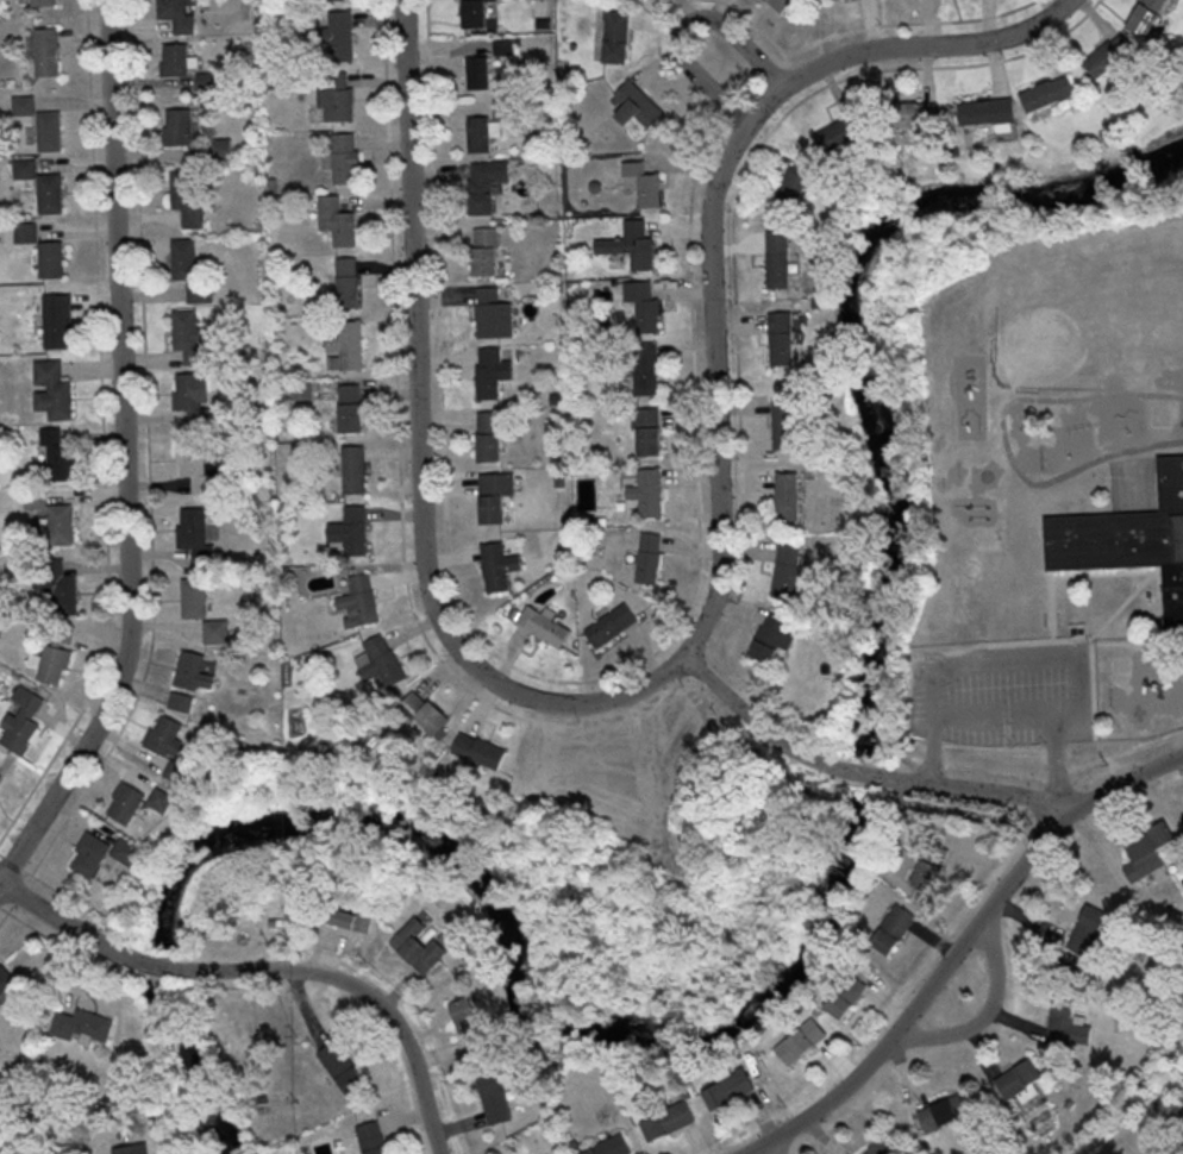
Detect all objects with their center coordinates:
building: (42, 1)
building: (632, 1)
building: (777, 4)
building: (475, 13)
building: (176, 14)
road: (683, 26)
building: (339, 35)
building: (615, 35)
building: (43, 49)
building: (174, 58)
building: (478, 71)
building: (206, 77)
building: (1053, 93)
building: (336, 102)
building: (502, 107)
building: (634, 107)
building: (987, 111)
building: (176, 125)
building: (48, 130)
building: (840, 131)
building: (482, 132)
building: (342, 157)
building: (23, 169)
building: (484, 182)
building: (644, 182)
building: (795, 188)
building: (49, 192)
building: (186, 196)
road: (711, 212)
building: (336, 220)
building: (25, 232)
building: (631, 244)
building: (484, 250)
building: (50, 258)
building: (182, 258)
building: (778, 258)
building: (346, 281)
building: (199, 291)
building: (641, 305)
building: (493, 313)
building: (56, 319)
building: (188, 335)
building: (782, 338)
building: (345, 345)
building: (645, 368)
building: (490, 371)
building: (52, 388)
building: (192, 397)
building: (350, 407)
building: (784, 422)
building: (647, 431)
building: (488, 435)
building: (58, 456)
road: (424, 456)
road: (126, 457)
building: (198, 465)
building: (353, 469)
building: (646, 493)
building: (495, 495)
building: (788, 495)
building: (60, 522)
building: (351, 529)
building: (194, 534)
building: (1128, 540)
building: (647, 557)
building: (499, 565)
building: (787, 570)
building: (62, 589)
building: (194, 596)
building: (359, 600)
building: (543, 625)
building: (609, 625)
building: (217, 629)
building: (62, 634)
building: (771, 636)
building: (380, 659)
building: (54, 663)
building: (193, 670)
building: (181, 701)
road: (1002, 713)
building: (432, 716)
road: (749, 717)
building: (20, 719)
building: (165, 735)
building: (478, 750)
building: (184, 754)
building: (177, 771)
road: (860, 774)
building: (0, 776)
road: (987, 794)
building: (137, 801)
building: (126, 849)
building: (90, 854)
building: (925, 873)
road: (62, 924)
building: (894, 927)
building: (418, 943)
road: (959, 951)
road: (154, 964)
building: (5, 977)
road: (361, 990)
building: (847, 993)
road: (985, 1011)
building: (82, 1023)
building: (470, 1026)
building: (800, 1040)
building: (340, 1065)
building: (1021, 1078)
building: (727, 1089)
building: (493, 1098)
building: (945, 1112)
building: (666, 1119)
road: (94, 1136)
building: (371, 1137)
building: (608, 1146)
road: (775, 1146)
building: (880, 1146)
building: (132, 1148)

